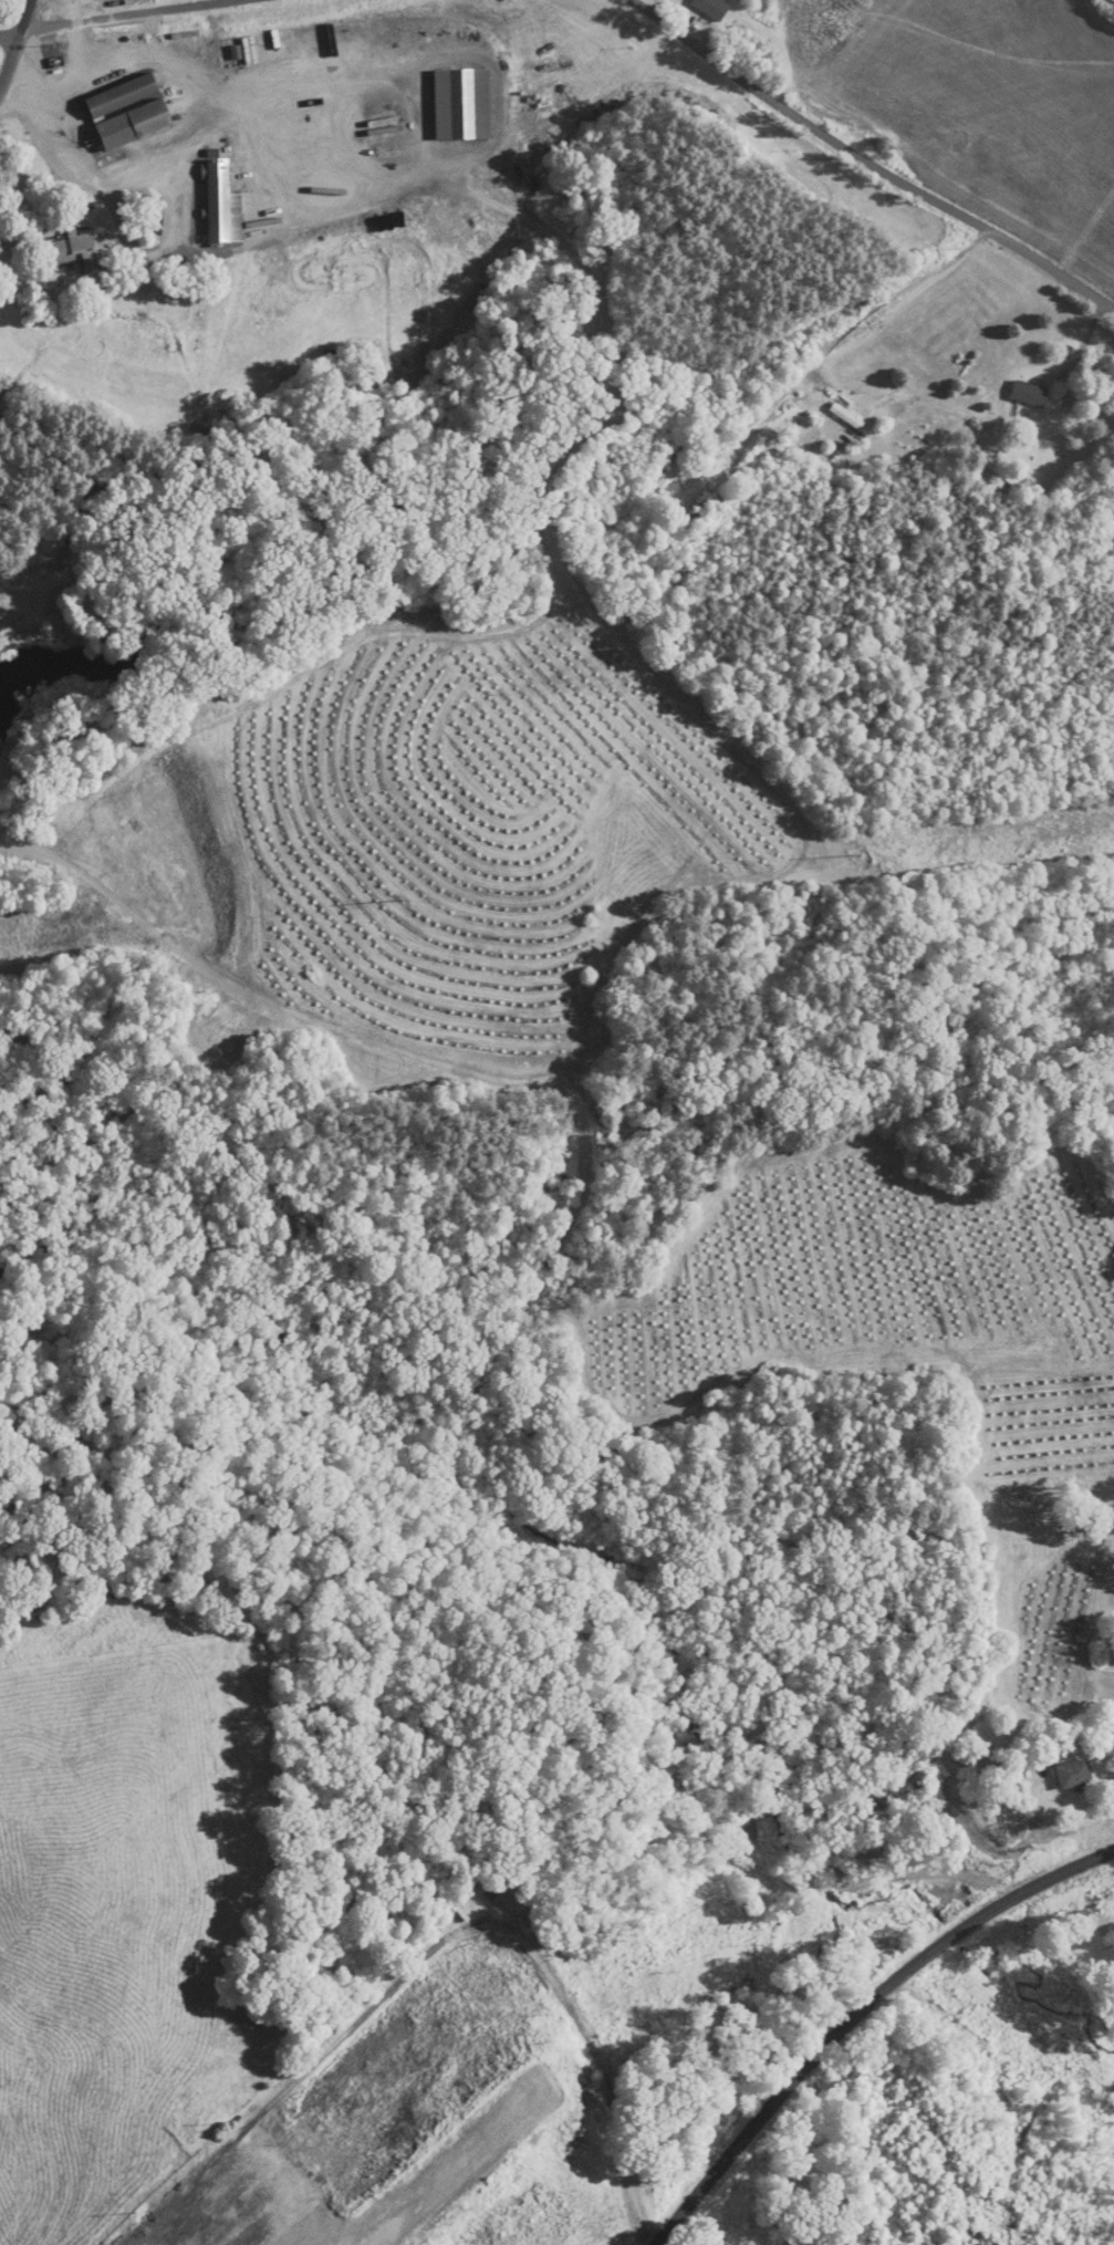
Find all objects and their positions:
road: (107, 17)
road: (14, 42)
road: (61, 82)
building: (122, 96)
building: (461, 104)
building: (144, 126)
road: (185, 145)
road: (871, 158)
building: (222, 205)
road: (156, 250)
building: (75, 256)
road: (715, 266)
road: (846, 326)
building: (1025, 398)
building: (851, 419)
building: (1073, 1775)
building: (475, 1877)
road: (434, 1940)
road: (862, 2018)

